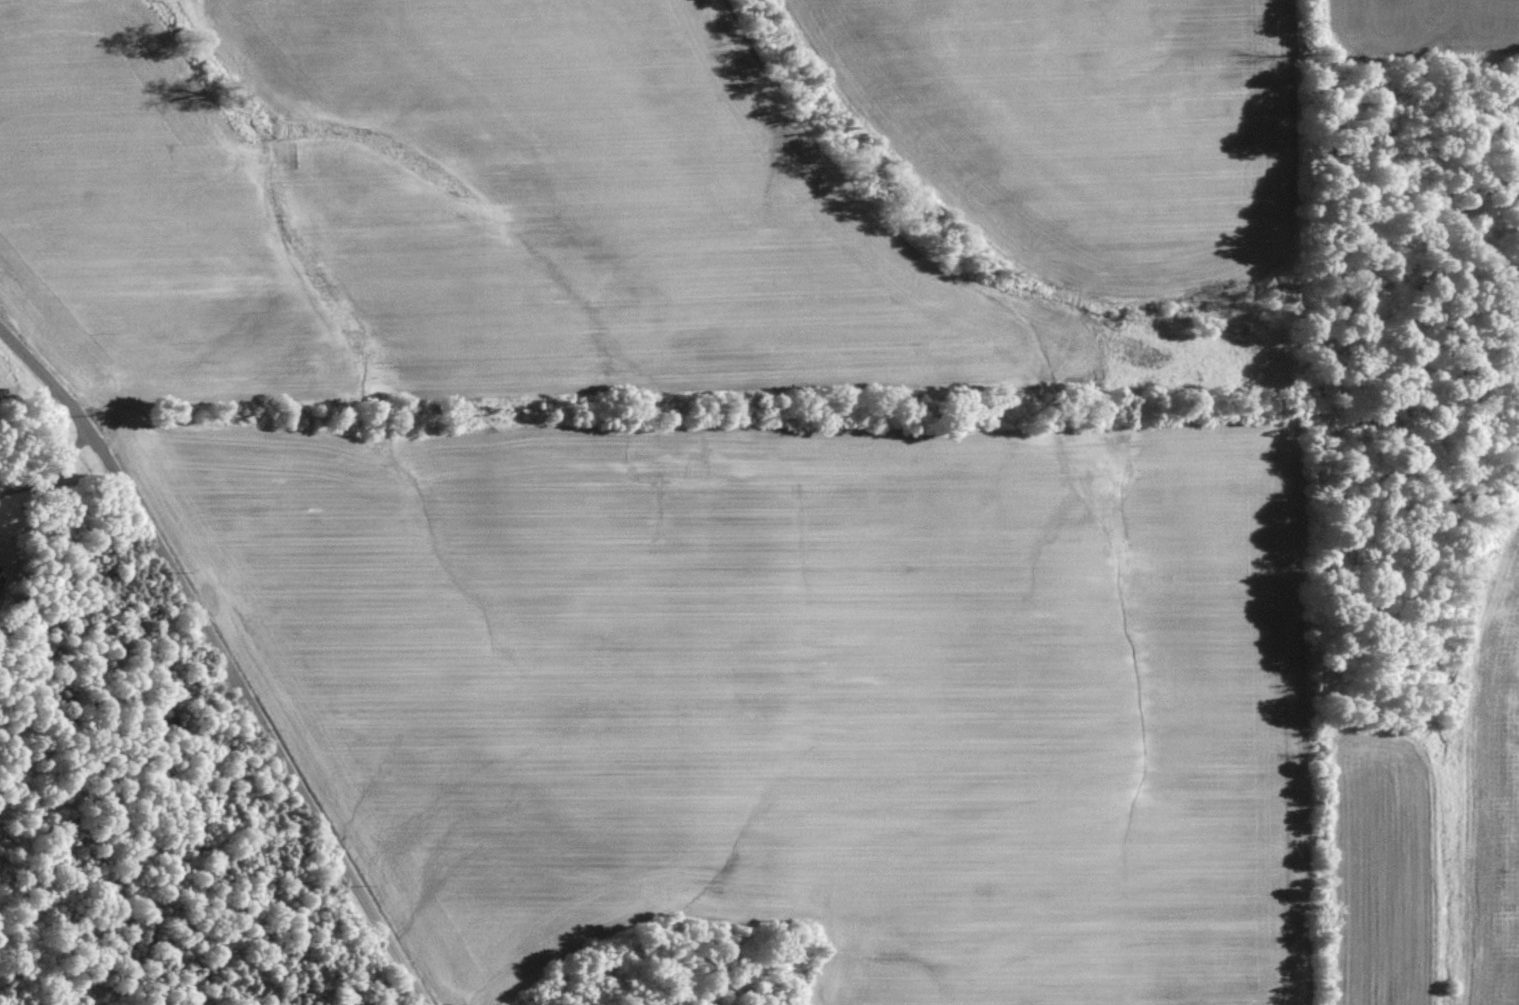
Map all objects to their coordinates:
road: (223, 657)

